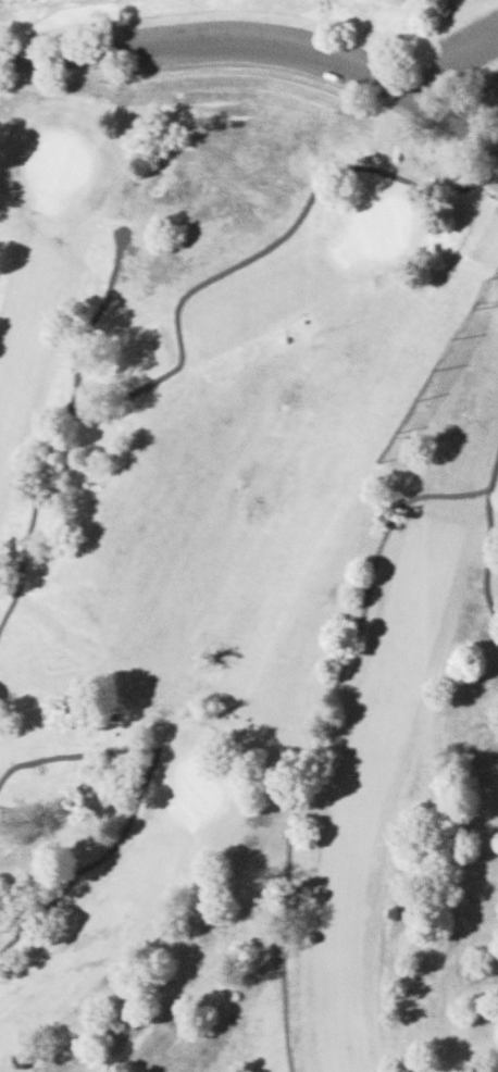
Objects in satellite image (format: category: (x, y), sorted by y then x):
road: (238, 42)
parking lot: (473, 43)
parking lot: (242, 49)
park: (23, 52)
road: (447, 57)
parking lot: (490, 86)
road: (475, 104)
road: (478, 137)
park: (51, 165)
park: (375, 226)
road: (188, 291)
road: (28, 511)
park: (251, 540)
road: (490, 550)
road: (319, 723)
park: (197, 786)
road: (140, 795)

